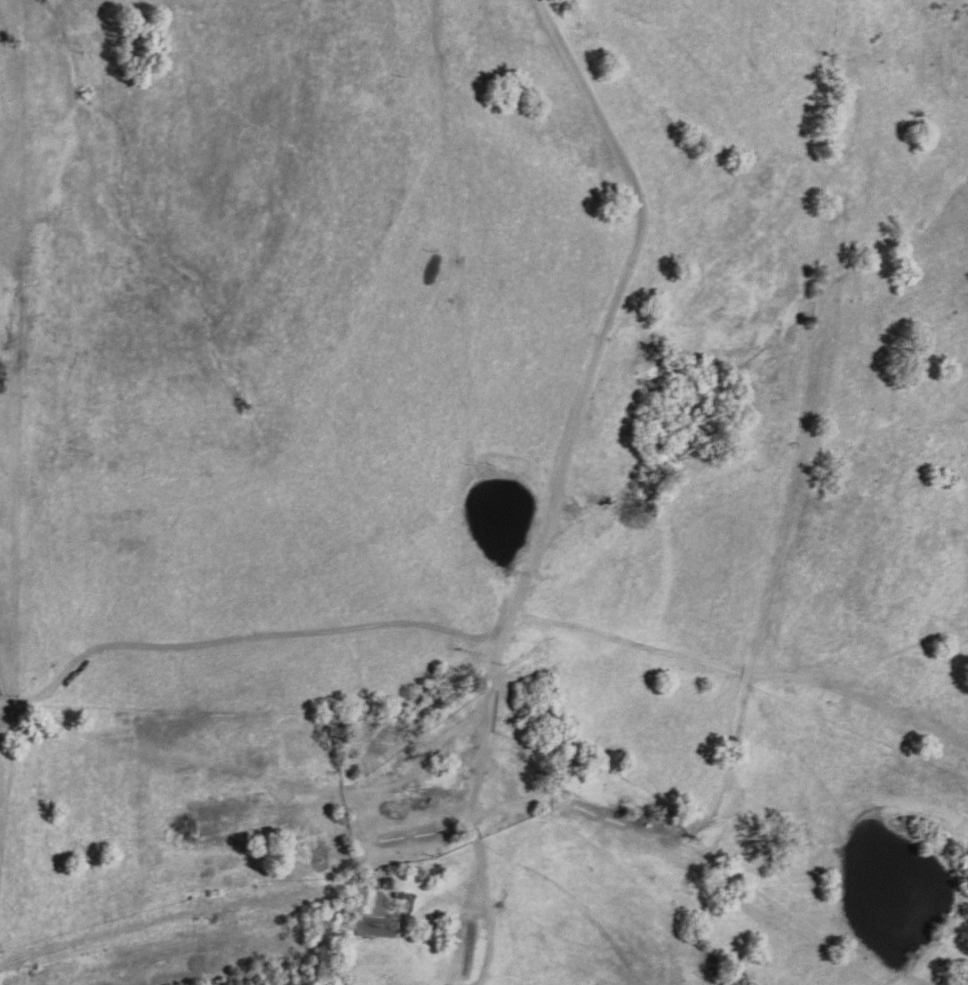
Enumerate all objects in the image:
road: (510, 656)

